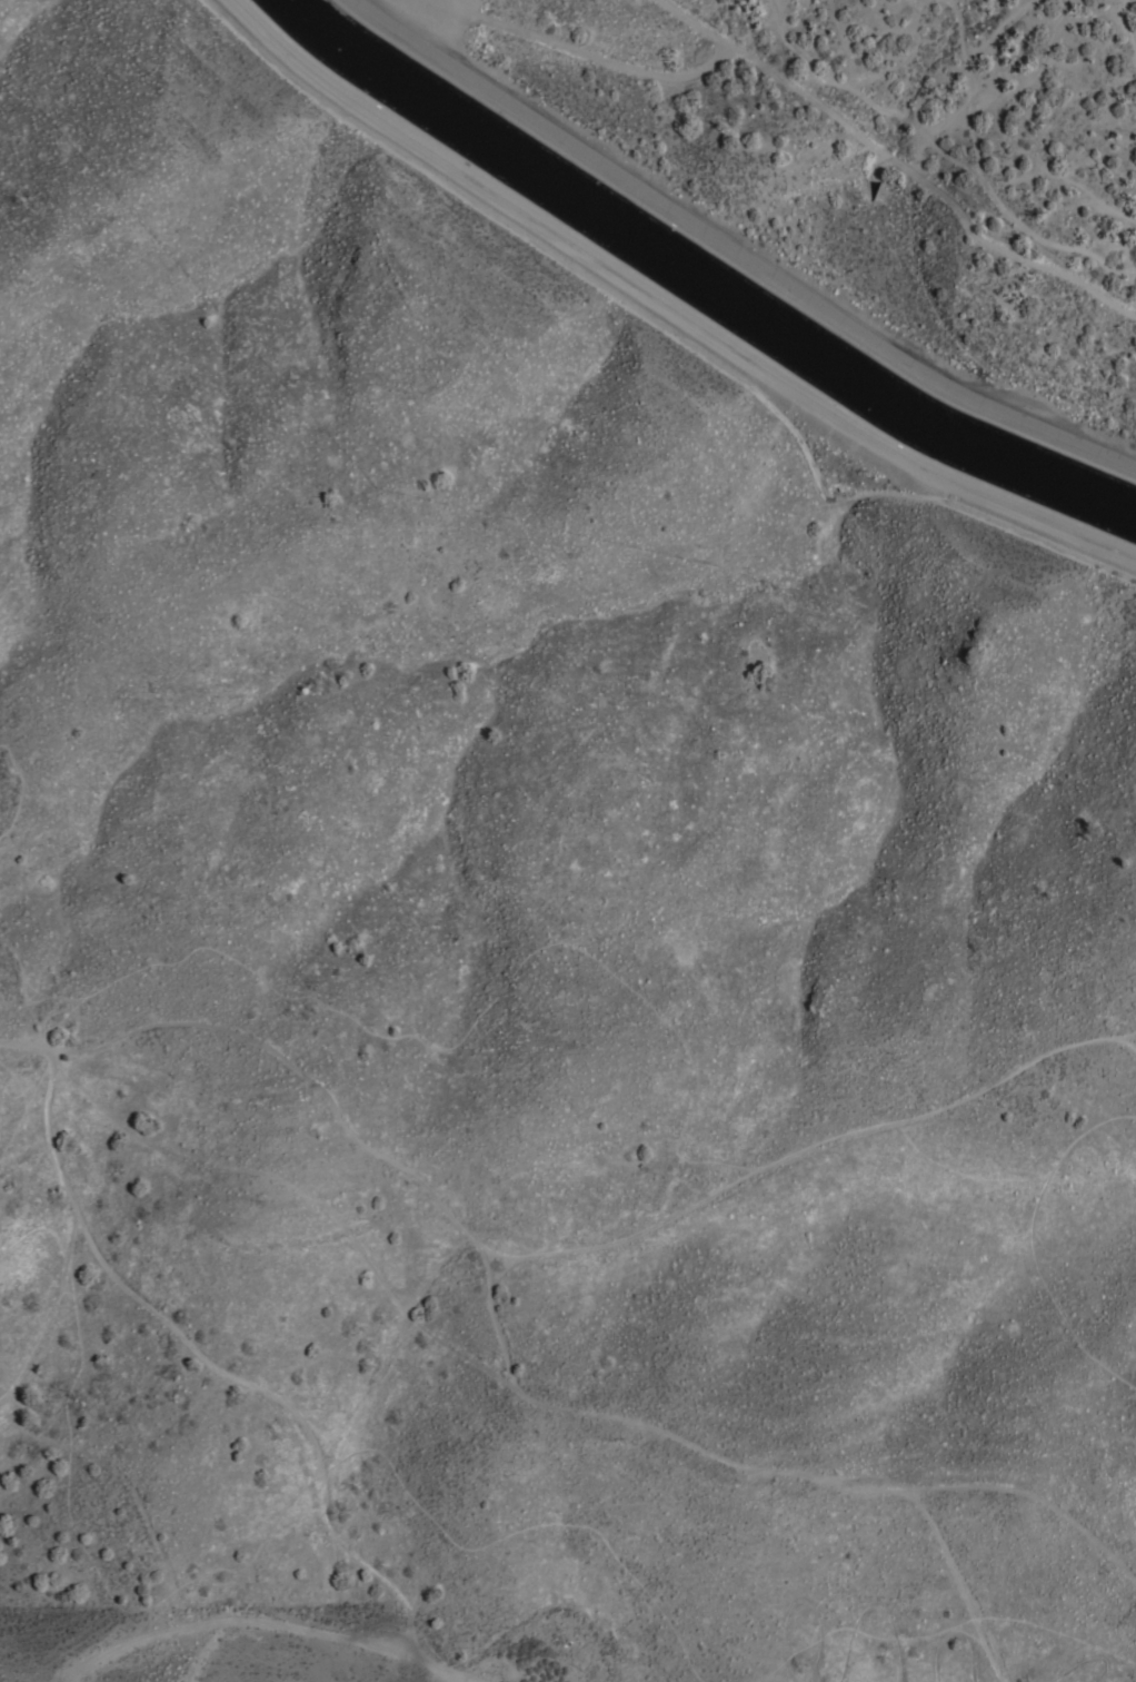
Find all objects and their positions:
road: (739, 249)
road: (664, 306)
road: (17, 786)
road: (945, 1108)
road: (680, 1140)
road: (240, 1377)
road: (728, 1466)
road: (1020, 1500)

